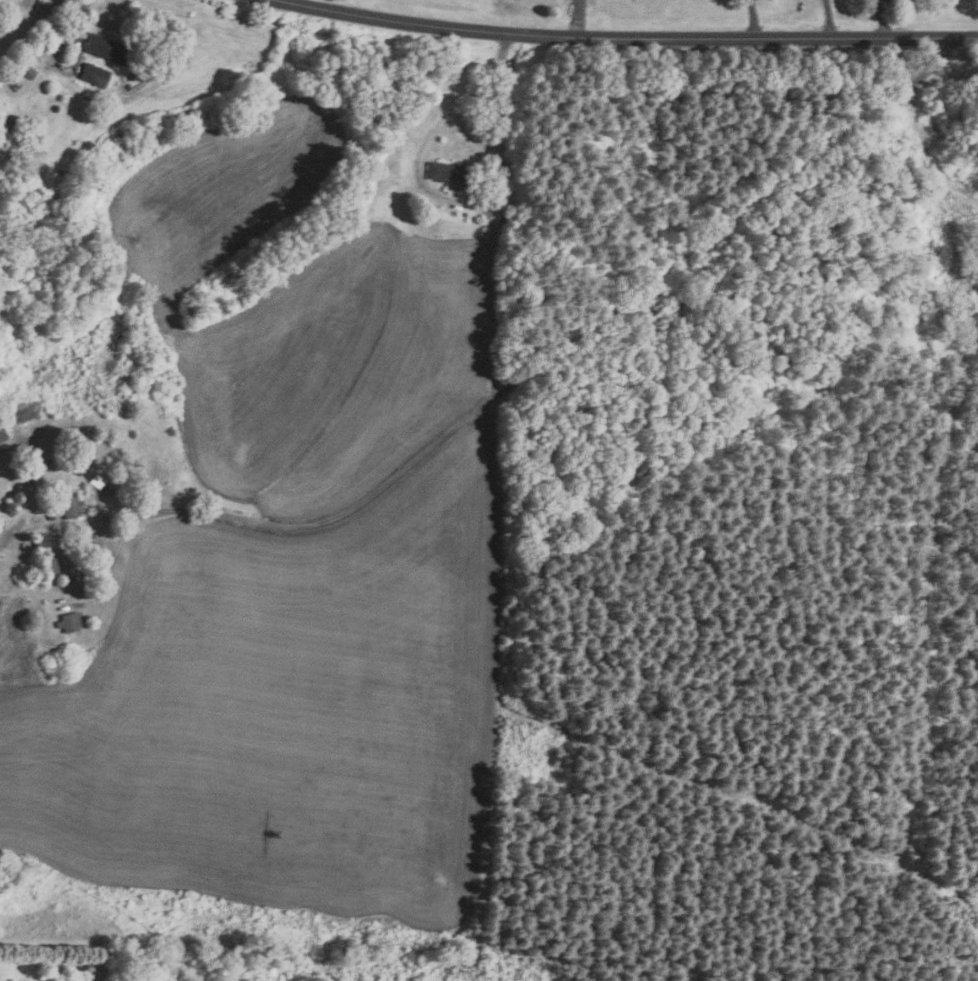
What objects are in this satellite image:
road: (83, 9)
road: (882, 17)
road: (625, 37)
building: (106, 49)
building: (27, 72)
building: (93, 75)
building: (11, 128)
building: (455, 174)
building: (501, 216)
road: (731, 221)
road: (484, 403)
building: (25, 411)
building: (2, 435)
building: (27, 480)
silo: (19, 497)
building: (69, 507)
silo: (13, 508)
building: (50, 517)
building: (41, 542)
building: (48, 567)
building: (68, 622)

